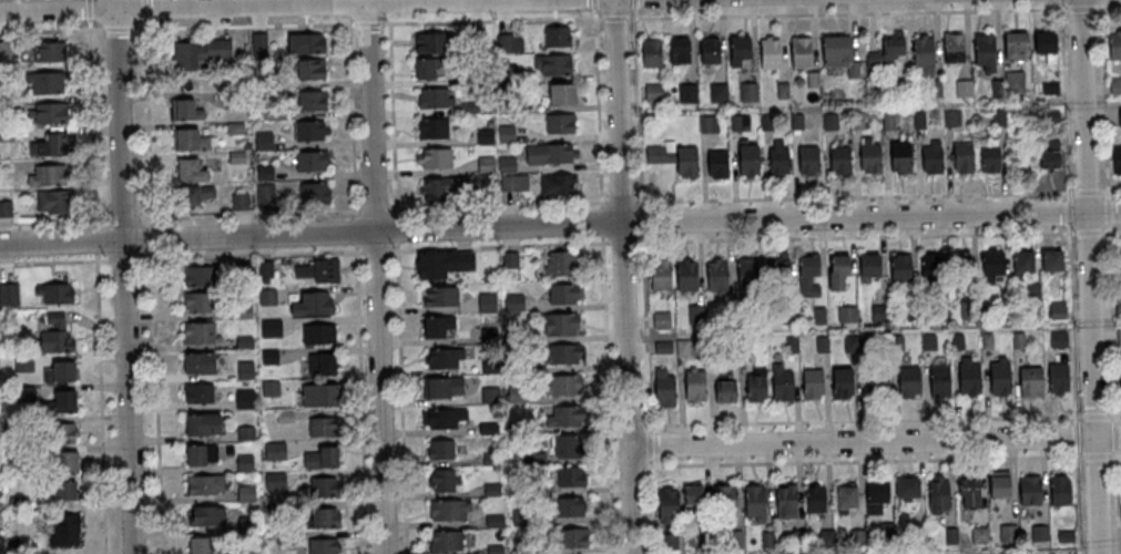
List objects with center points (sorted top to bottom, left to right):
road: (1099, 1)
road: (245, 4)
road: (388, 8)
road: (348, 9)
road: (90, 10)
road: (144, 10)
road: (874, 13)
road: (614, 18)
road: (491, 20)
road: (369, 22)
road: (245, 25)
road: (51, 29)
road: (119, 29)
building: (557, 35)
building: (428, 42)
building: (509, 42)
building: (258, 43)
building: (307, 43)
building: (1016, 44)
building: (1047, 44)
building: (1115, 45)
building: (893, 47)
building: (955, 48)
building: (986, 48)
building: (49, 50)
building: (680, 50)
building: (710, 50)
building: (741, 51)
building: (802, 51)
building: (834, 51)
building: (925, 51)
building: (200, 52)
building: (652, 52)
building: (771, 53)
building: (552, 63)
building: (428, 68)
building: (313, 69)
building: (44, 82)
building: (1015, 82)
building: (655, 84)
building: (1115, 84)
building: (964, 89)
building: (748, 91)
building: (687, 92)
building: (719, 92)
building: (562, 93)
building: (435, 98)
building: (314, 100)
road: (636, 102)
road: (598, 103)
building: (186, 110)
building: (48, 112)
road: (351, 114)
road: (391, 114)
building: (1119, 115)
building: (1049, 116)
road: (147, 119)
building: (740, 121)
building: (560, 123)
building: (709, 123)
road: (93, 125)
building: (432, 127)
building: (309, 131)
building: (506, 134)
building: (485, 136)
building: (190, 138)
building: (50, 145)
building: (660, 152)
building: (550, 154)
building: (901, 156)
building: (964, 156)
building: (434, 157)
building: (748, 158)
building: (870, 158)
building: (990, 158)
building: (809, 160)
building: (840, 160)
building: (933, 160)
building: (1050, 160)
building: (1117, 160)
building: (310, 161)
building: (687, 161)
building: (779, 162)
building: (486, 165)
building: (507, 165)
building: (717, 165)
building: (191, 171)
building: (48, 174)
building: (513, 184)
building: (558, 184)
building: (432, 188)
building: (315, 192)
building: (197, 195)
road: (878, 195)
building: (265, 196)
building: (240, 201)
road: (621, 201)
building: (52, 202)
building: (6, 207)
road: (371, 211)
road: (123, 218)
road: (641, 219)
road: (54, 220)
road: (601, 222)
road: (560, 225)
road: (876, 236)
road: (96, 242)
road: (618, 242)
road: (371, 250)
road: (125, 258)
road: (54, 261)
building: (1053, 261)
building: (560, 263)
building: (445, 264)
building: (959, 265)
building: (993, 266)
building: (1025, 266)
building: (778, 267)
building: (933, 267)
building: (1118, 267)
building: (872, 268)
building: (901, 268)
building: (839, 269)
building: (303, 270)
building: (325, 270)
building: (265, 271)
building: (747, 273)
building: (717, 275)
road: (122, 276)
building: (196, 276)
road: (624, 276)
building: (662, 276)
building: (689, 276)
building: (809, 276)
road: (1070, 276)
road: (1088, 277)
road: (1109, 277)
road: (374, 278)
building: (54, 293)
building: (563, 293)
building: (9, 294)
building: (439, 295)
building: (267, 296)
building: (487, 301)
building: (197, 302)
building: (314, 302)
building: (879, 312)
building: (847, 314)
building: (661, 319)
building: (560, 322)
building: (438, 326)
building: (271, 327)
road: (646, 330)
building: (197, 332)
building: (318, 334)
building: (55, 335)
building: (1119, 338)
building: (685, 347)
building: (563, 355)
building: (445, 357)
building: (198, 362)
building: (322, 362)
building: (245, 369)
building: (59, 370)
building: (1000, 376)
building: (970, 378)
building: (1059, 378)
building: (940, 380)
building: (879, 381)
building: (910, 381)
building: (1031, 382)
building: (1120, 382)
building: (813, 383)
building: (844, 383)
road: (156, 384)
road: (359, 384)
road: (399, 384)
building: (564, 384)
building: (696, 384)
building: (784, 386)
building: (444, 387)
building: (665, 388)
building: (757, 389)
building: (726, 391)
building: (197, 392)
building: (318, 393)
road: (607, 396)
building: (244, 398)
building: (60, 402)
road: (101, 403)
building: (569, 416)
building: (444, 418)
road: (885, 419)
building: (202, 424)
building: (323, 425)
building: (65, 431)
road: (875, 440)
road: (650, 444)
building: (564, 445)
building: (440, 449)
building: (275, 450)
building: (201, 455)
building: (320, 455)
road: (886, 460)
building: (68, 462)
building: (572, 476)
building: (444, 480)
building: (275, 481)
building: (205, 484)
building: (998, 484)
building: (323, 485)
building: (907, 488)
building: (64, 490)
building: (1029, 490)
building: (1060, 490)
building: (246, 493)
building: (969, 493)
building: (938, 494)
building: (876, 495)
building: (724, 497)
building: (815, 497)
building: (846, 497)
building: (693, 500)
building: (786, 501)
building: (754, 503)
building: (667, 505)
building: (569, 506)
road: (652, 507)
building: (449, 510)
building: (206, 515)
building: (323, 517)
building: (65, 530)
building: (1007, 532)
building: (1039, 532)
building: (979, 535)
building: (573, 537)
building: (857, 537)
building: (667, 541)
building: (445, 542)
building: (198, 545)
building: (323, 545)

